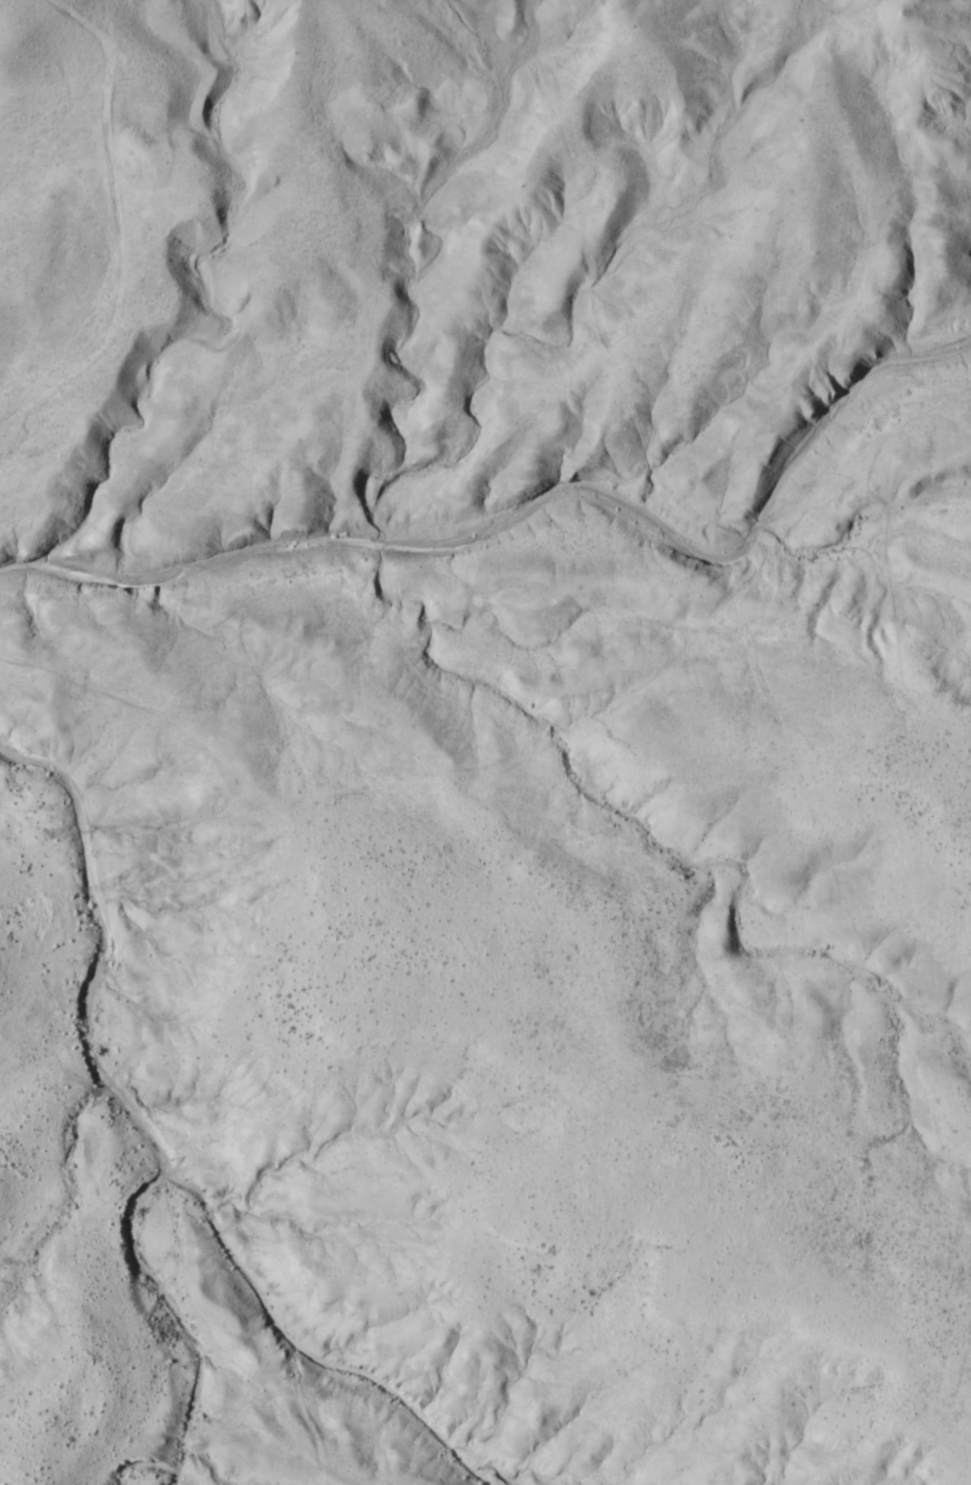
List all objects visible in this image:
road: (540, 512)

